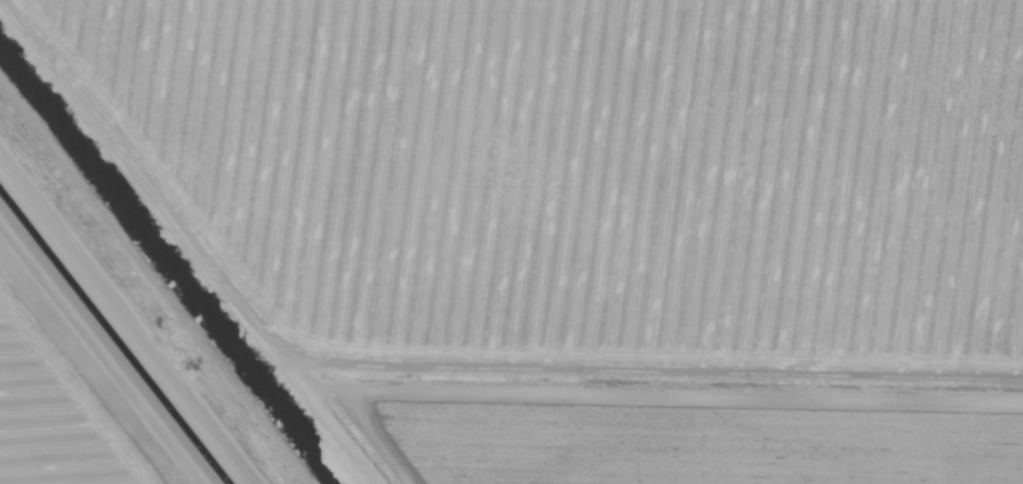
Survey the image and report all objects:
crop: (511, 242)
road: (125, 325)

